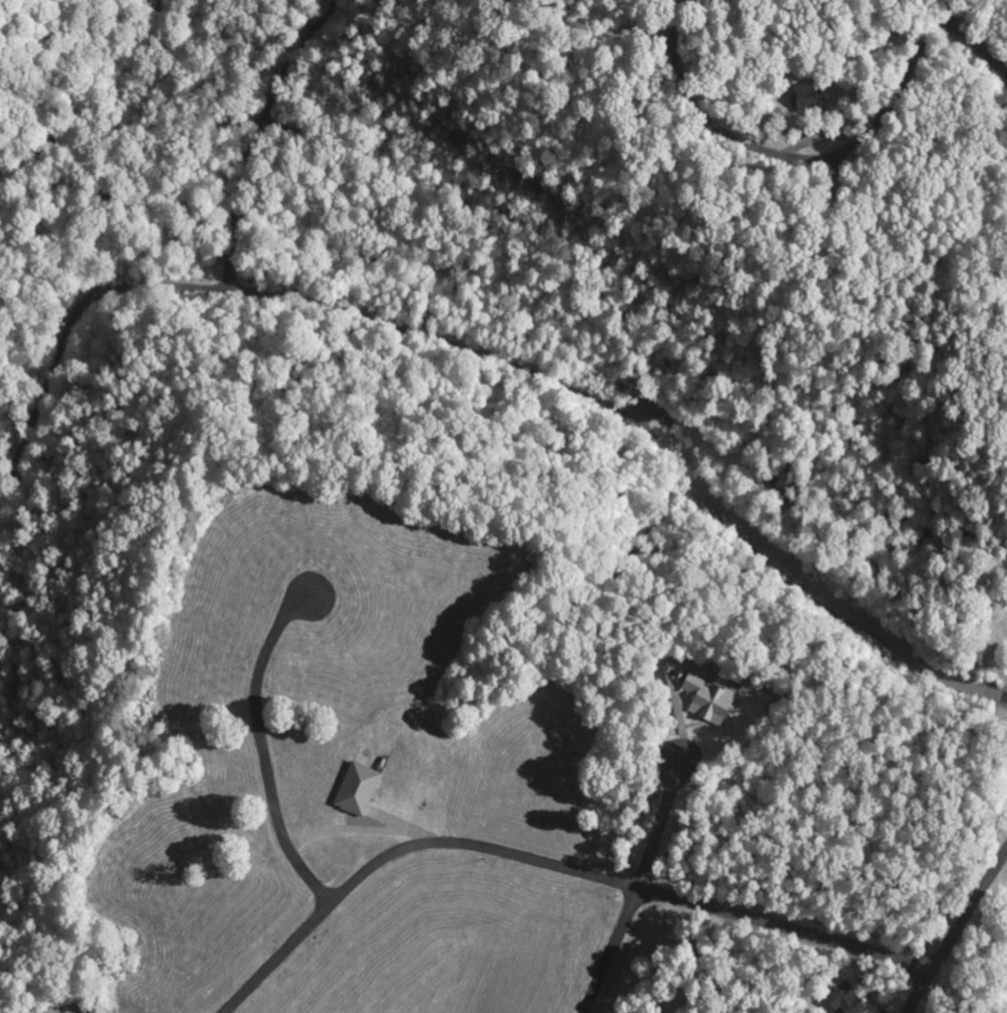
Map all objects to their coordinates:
road: (938, 6)
road: (973, 45)
road: (792, 157)
road: (487, 354)
building: (705, 699)
road: (262, 745)
building: (365, 794)
road: (658, 822)
road: (546, 860)
road: (954, 928)
road: (606, 948)
building: (841, 999)

